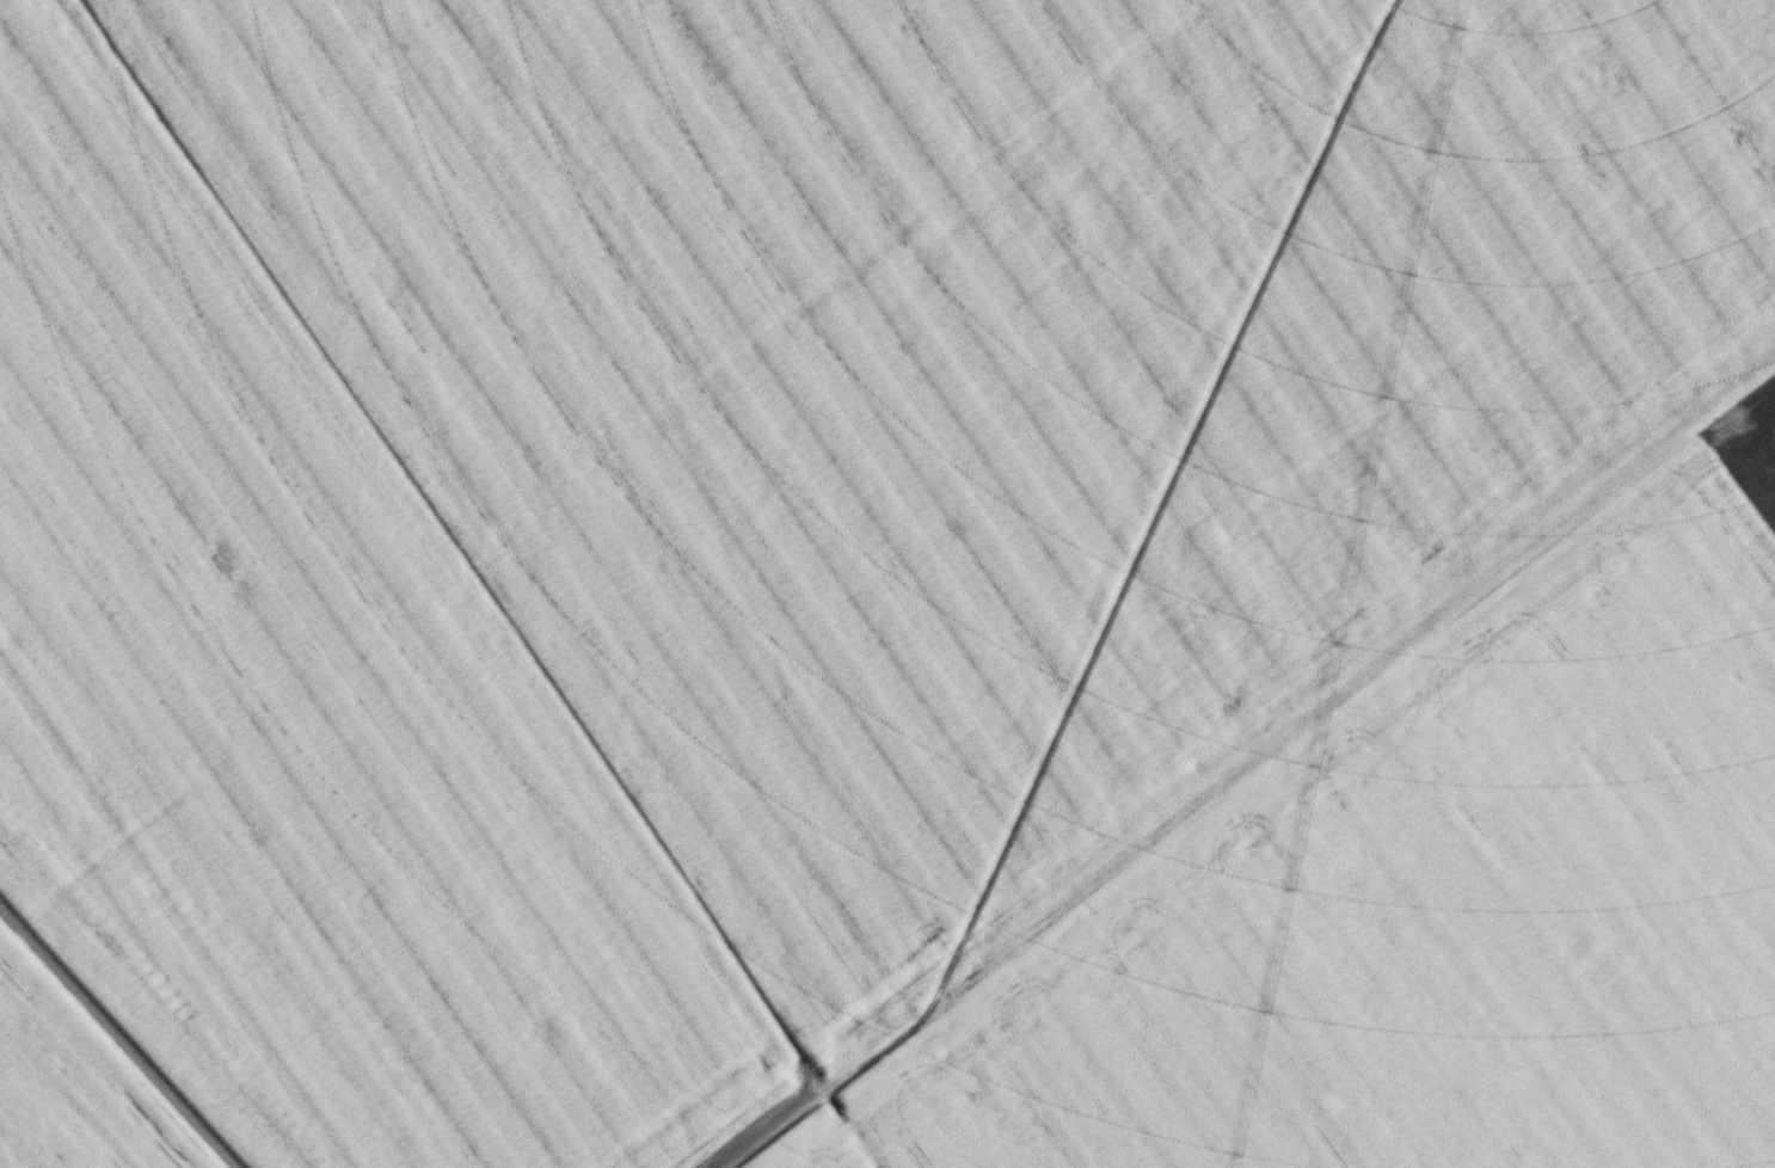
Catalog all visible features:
road: (121, 1033)

